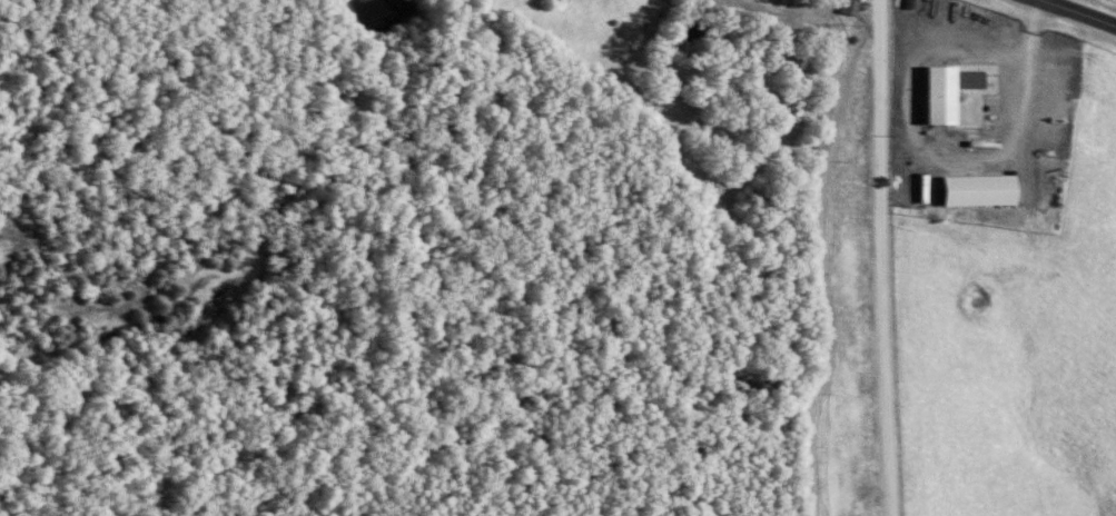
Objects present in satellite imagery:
road: (1069, 17)
road: (1034, 38)
building: (958, 91)
road: (995, 170)
building: (990, 189)
road: (880, 258)

